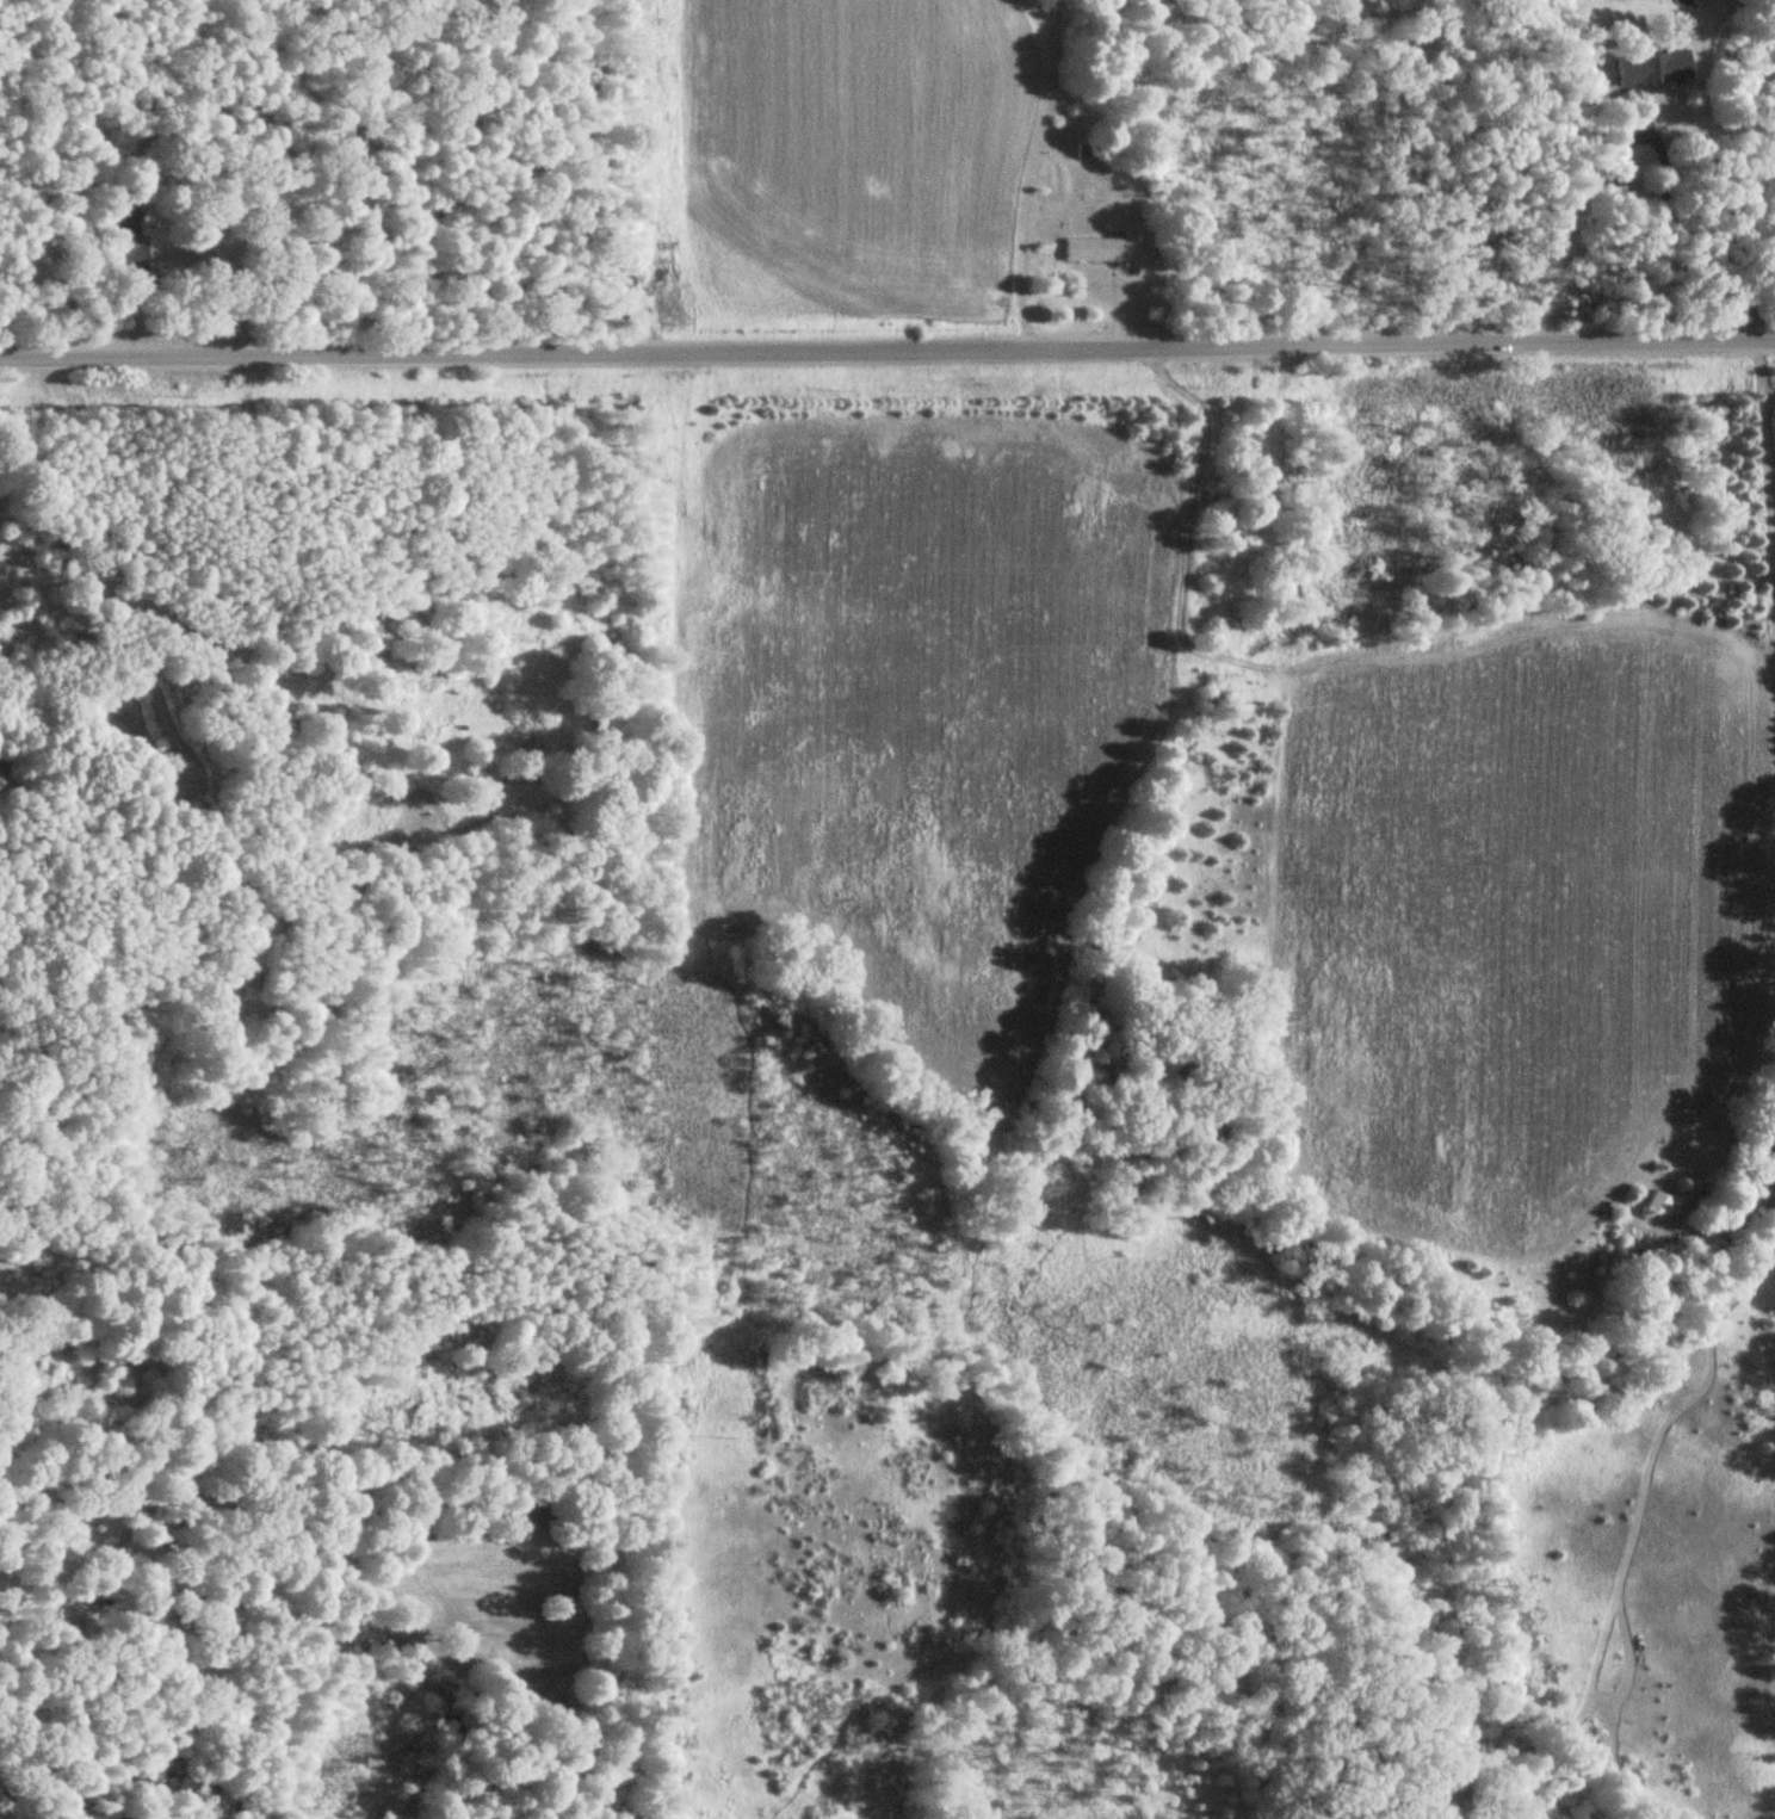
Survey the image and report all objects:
building: (1651, 69)
road: (1056, 184)
building: (125, 239)
building: (1095, 250)
road: (233, 268)
road: (887, 349)
building: (1658, 1205)

